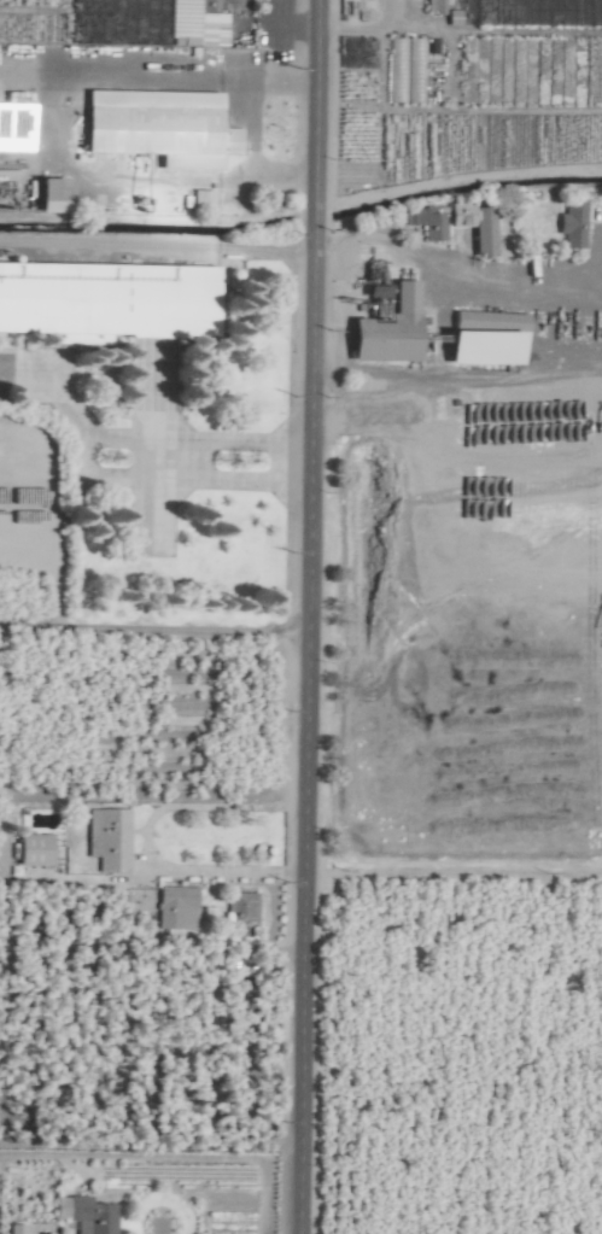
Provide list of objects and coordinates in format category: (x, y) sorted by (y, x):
crop: (290, 106)
road: (250, 125)
building: (158, 128)
building: (48, 197)
building: (427, 223)
building: (571, 223)
building: (472, 227)
road: (156, 246)
road: (451, 276)
building: (168, 302)
building: (386, 332)
building: (483, 346)
road: (448, 379)
road: (75, 433)
road: (173, 458)
crop: (300, 616)
road: (306, 616)
road: (153, 632)
building: (107, 837)
road: (145, 838)
building: (31, 849)
building: (175, 907)
building: (122, 908)
building: (240, 908)
road: (150, 1144)
road: (166, 1156)
building: (84, 1215)
building: (13, 1229)

